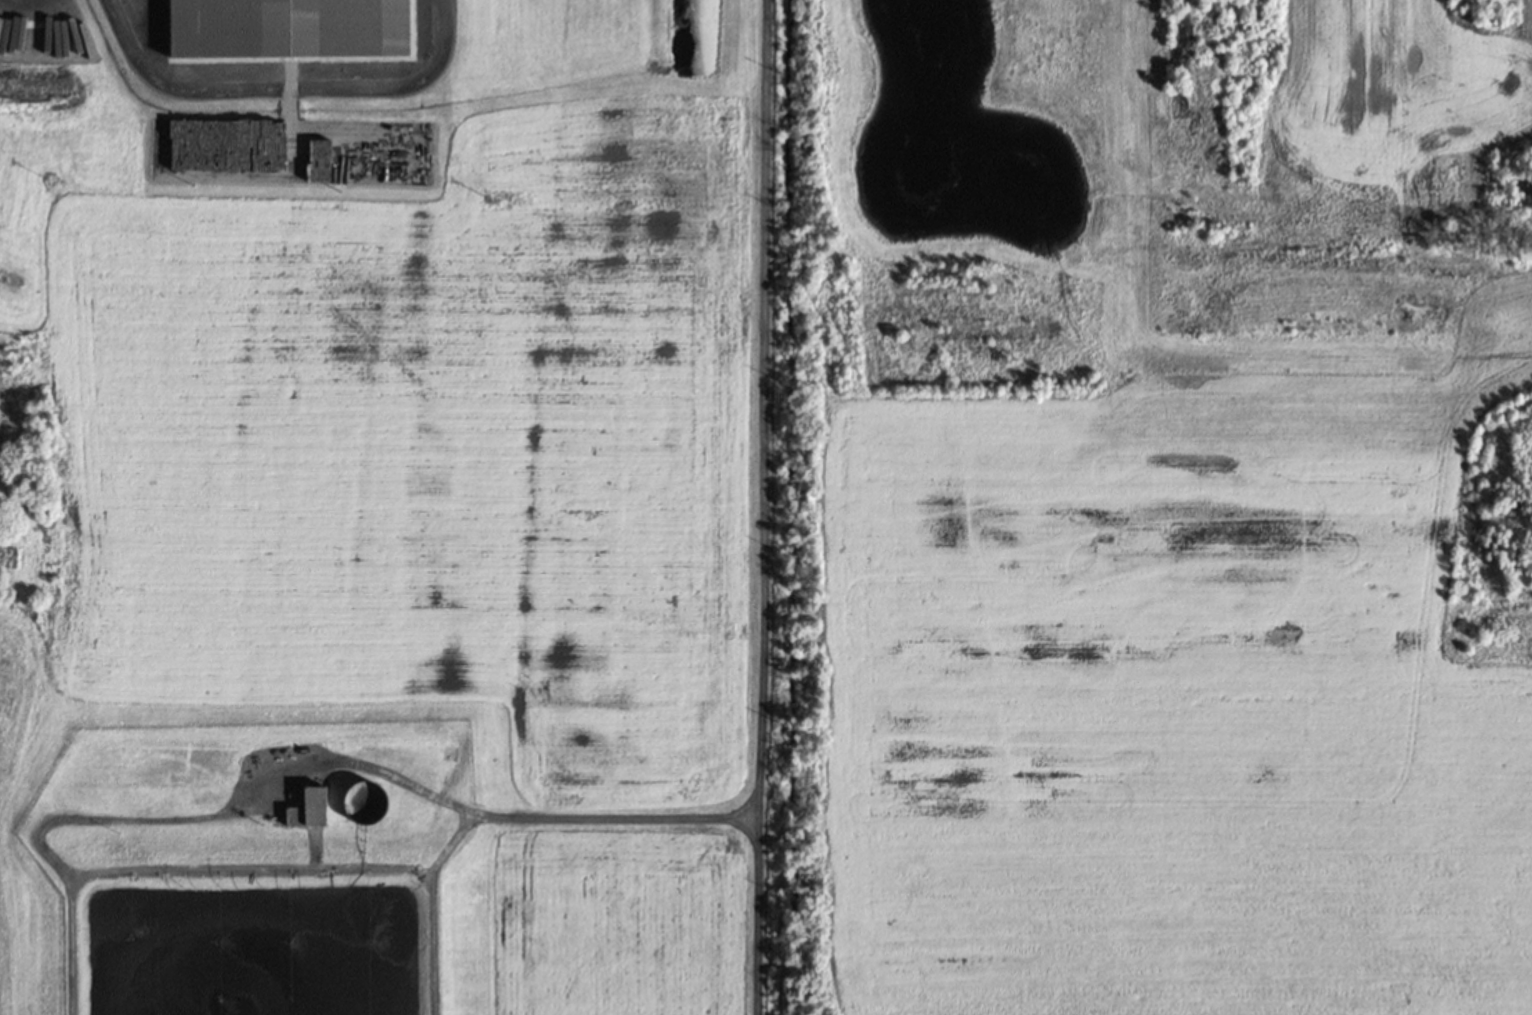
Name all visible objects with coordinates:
building: (289, 28)
road: (762, 507)
crop: (1169, 698)
road: (487, 813)
building: (295, 815)

